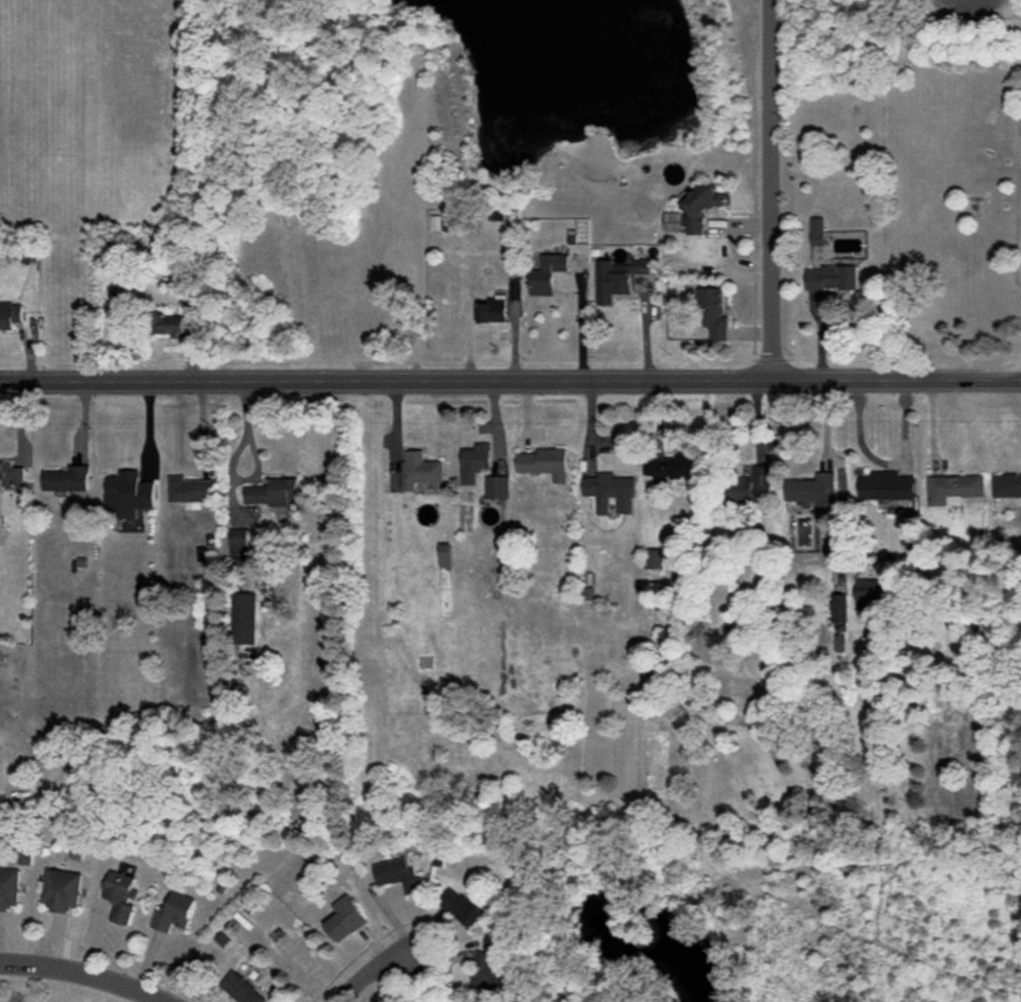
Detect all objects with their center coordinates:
park: (959, 173)
road: (770, 189)
building: (701, 207)
building: (444, 223)
building: (818, 231)
building: (641, 266)
building: (548, 274)
building: (834, 277)
building: (612, 280)
building: (174, 281)
building: (516, 289)
building: (493, 311)
building: (713, 312)
building: (10, 314)
building: (170, 325)
road: (510, 380)
building: (475, 462)
building: (544, 463)
building: (670, 468)
building: (420, 469)
building: (12, 476)
building: (66, 479)
building: (752, 485)
building: (887, 486)
building: (1007, 486)
building: (497, 487)
building: (954, 489)
building: (191, 491)
building: (610, 491)
building: (273, 492)
building: (128, 494)
building: (816, 497)
building: (240, 542)
building: (445, 555)
building: (653, 559)
building: (872, 595)
building: (839, 608)
building: (244, 618)
building: (399, 875)
building: (9, 888)
building: (62, 890)
building: (121, 896)
building: (461, 907)
building: (174, 912)
building: (346, 919)
road: (371, 969)
building: (486, 970)
road: (87, 971)
building: (242, 989)

